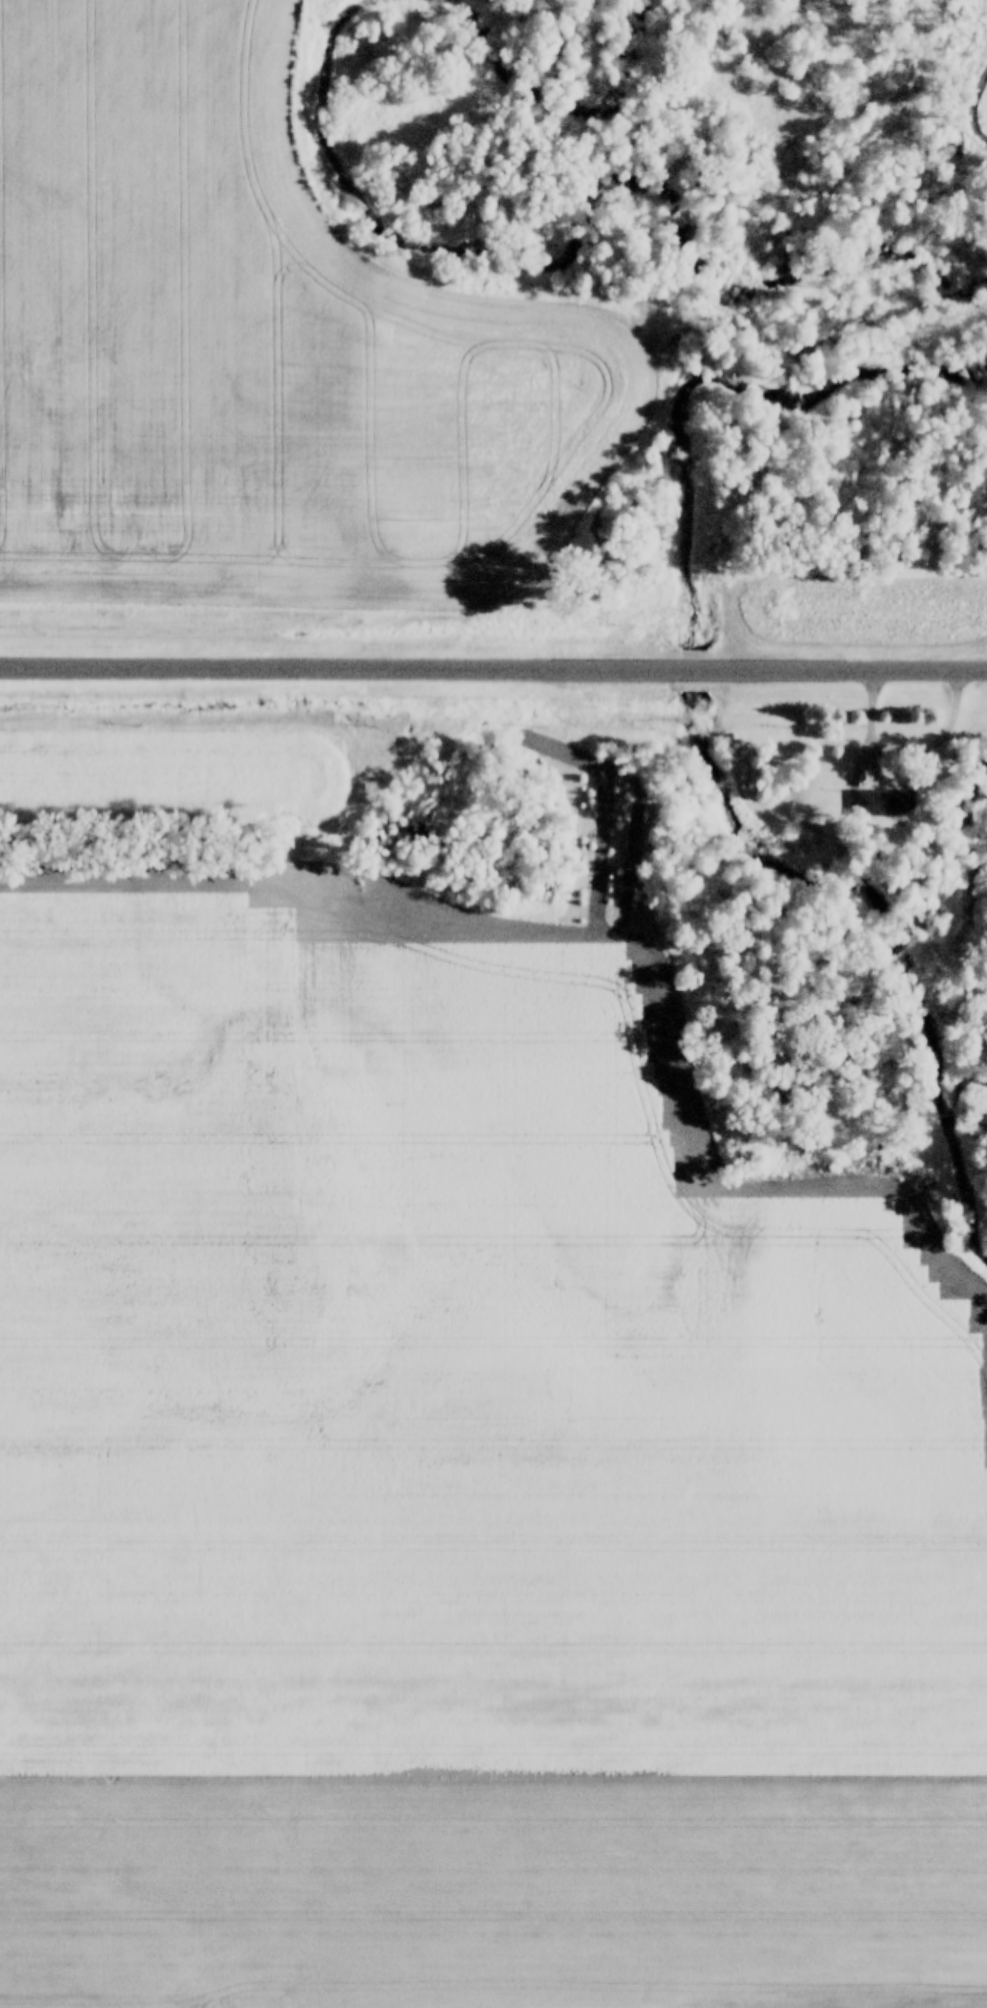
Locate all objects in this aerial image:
road: (341, 668)
road: (704, 668)
road: (855, 669)
road: (914, 752)
building: (881, 804)

